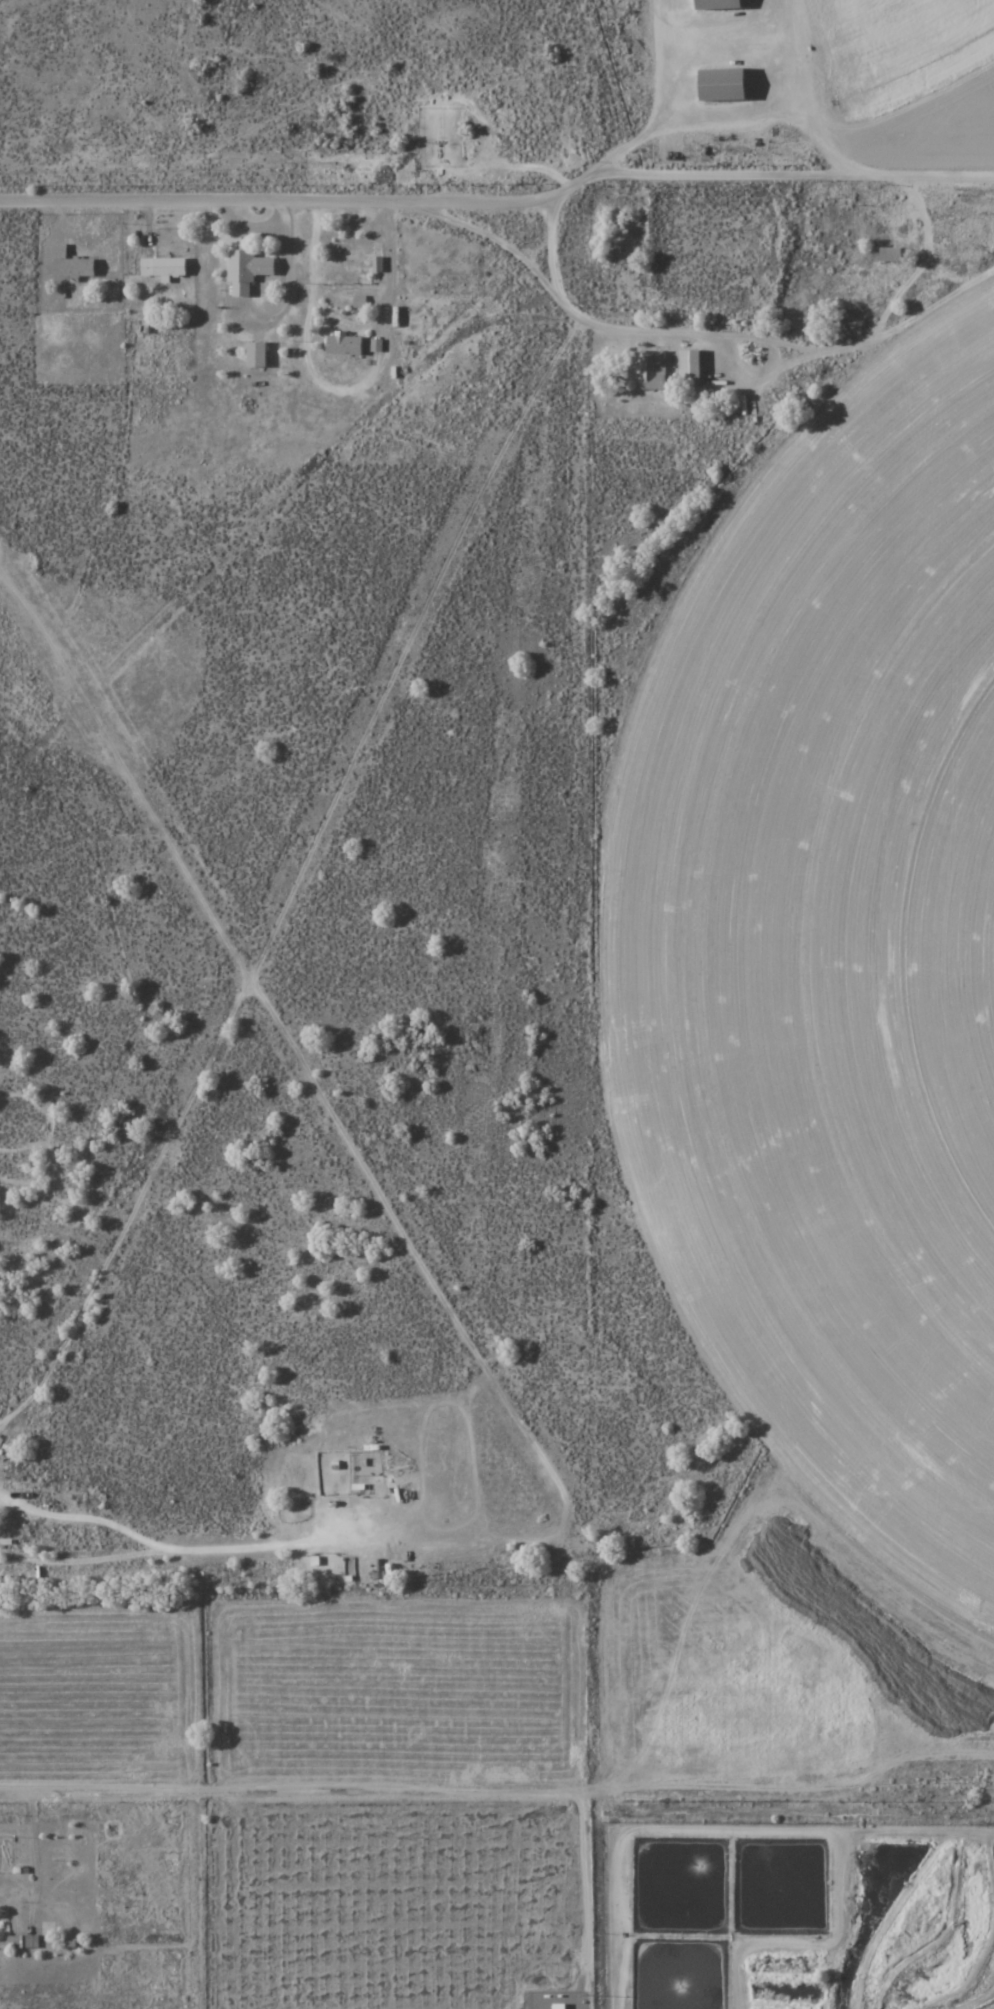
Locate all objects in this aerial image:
building: (717, 3)
building: (721, 84)
road: (500, 204)
building: (861, 230)
building: (890, 253)
building: (72, 262)
building: (162, 266)
building: (246, 270)
building: (344, 345)
building: (256, 354)
building: (650, 369)
crop: (832, 959)
building: (55, 1522)
building: (22, 1941)
building: (538, 2000)

